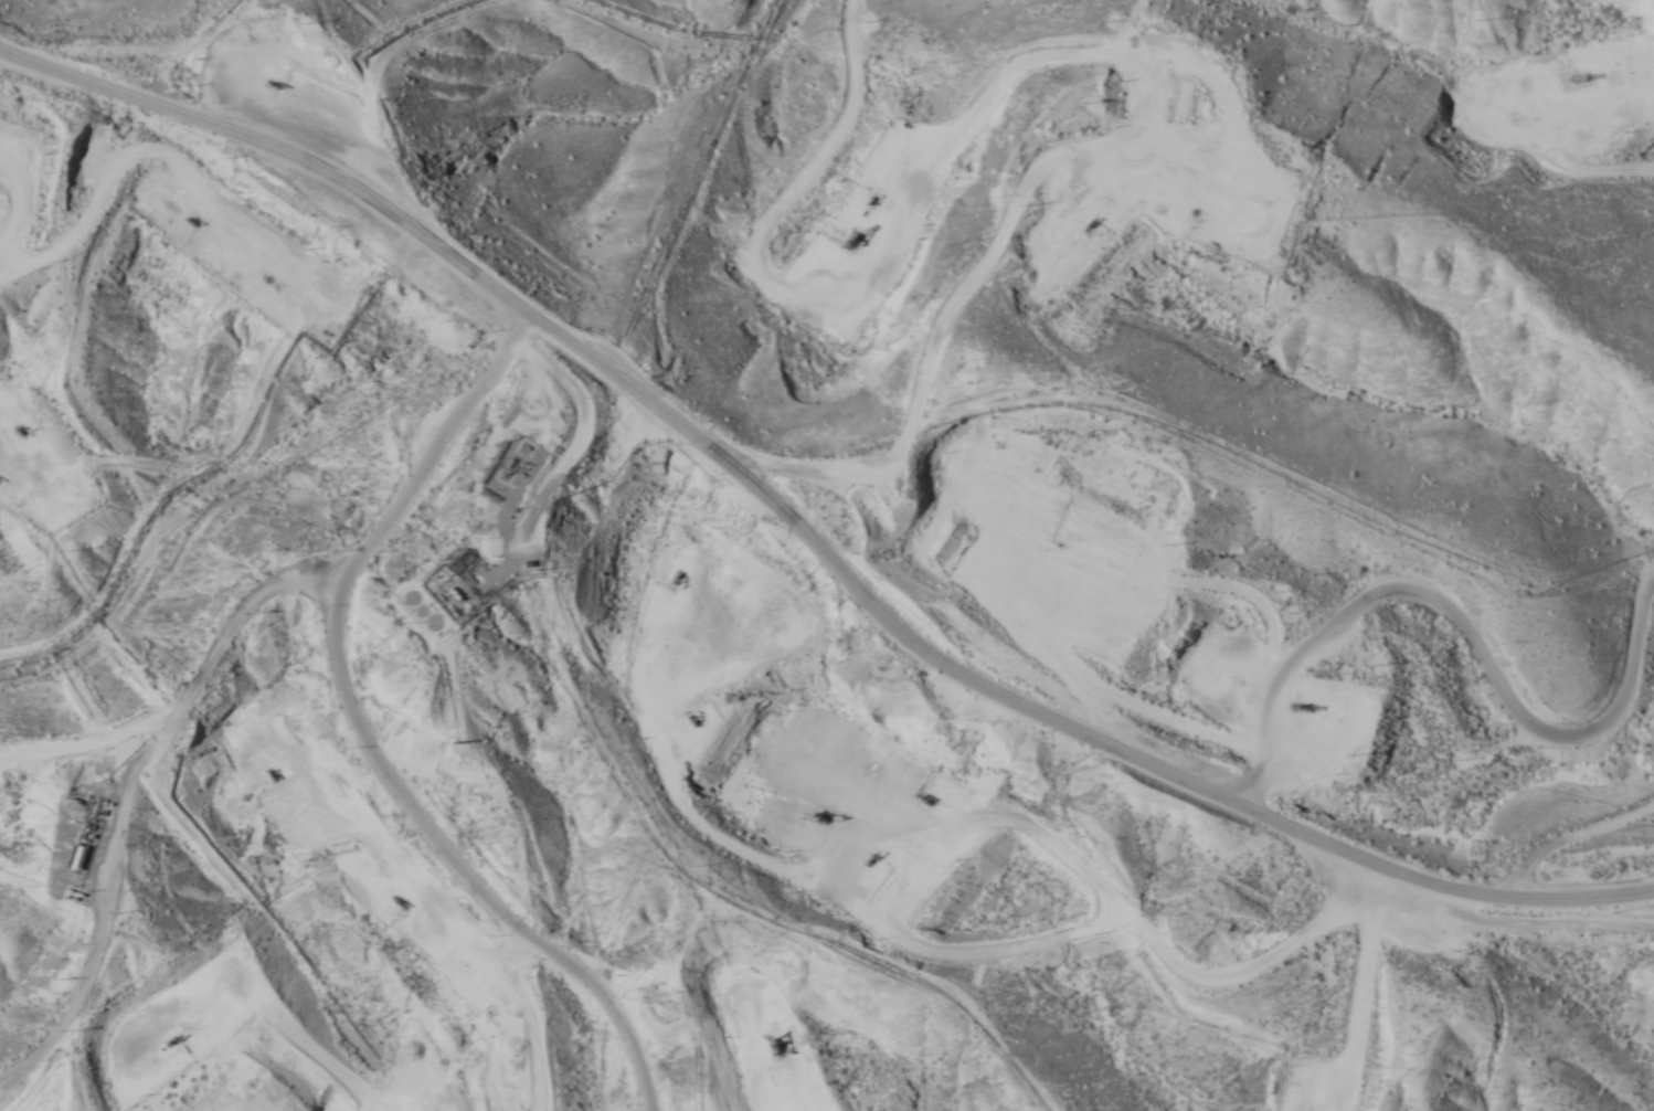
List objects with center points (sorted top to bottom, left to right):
road: (804, 533)
road: (1350, 670)
road: (367, 727)
road: (169, 835)
road: (1528, 923)

